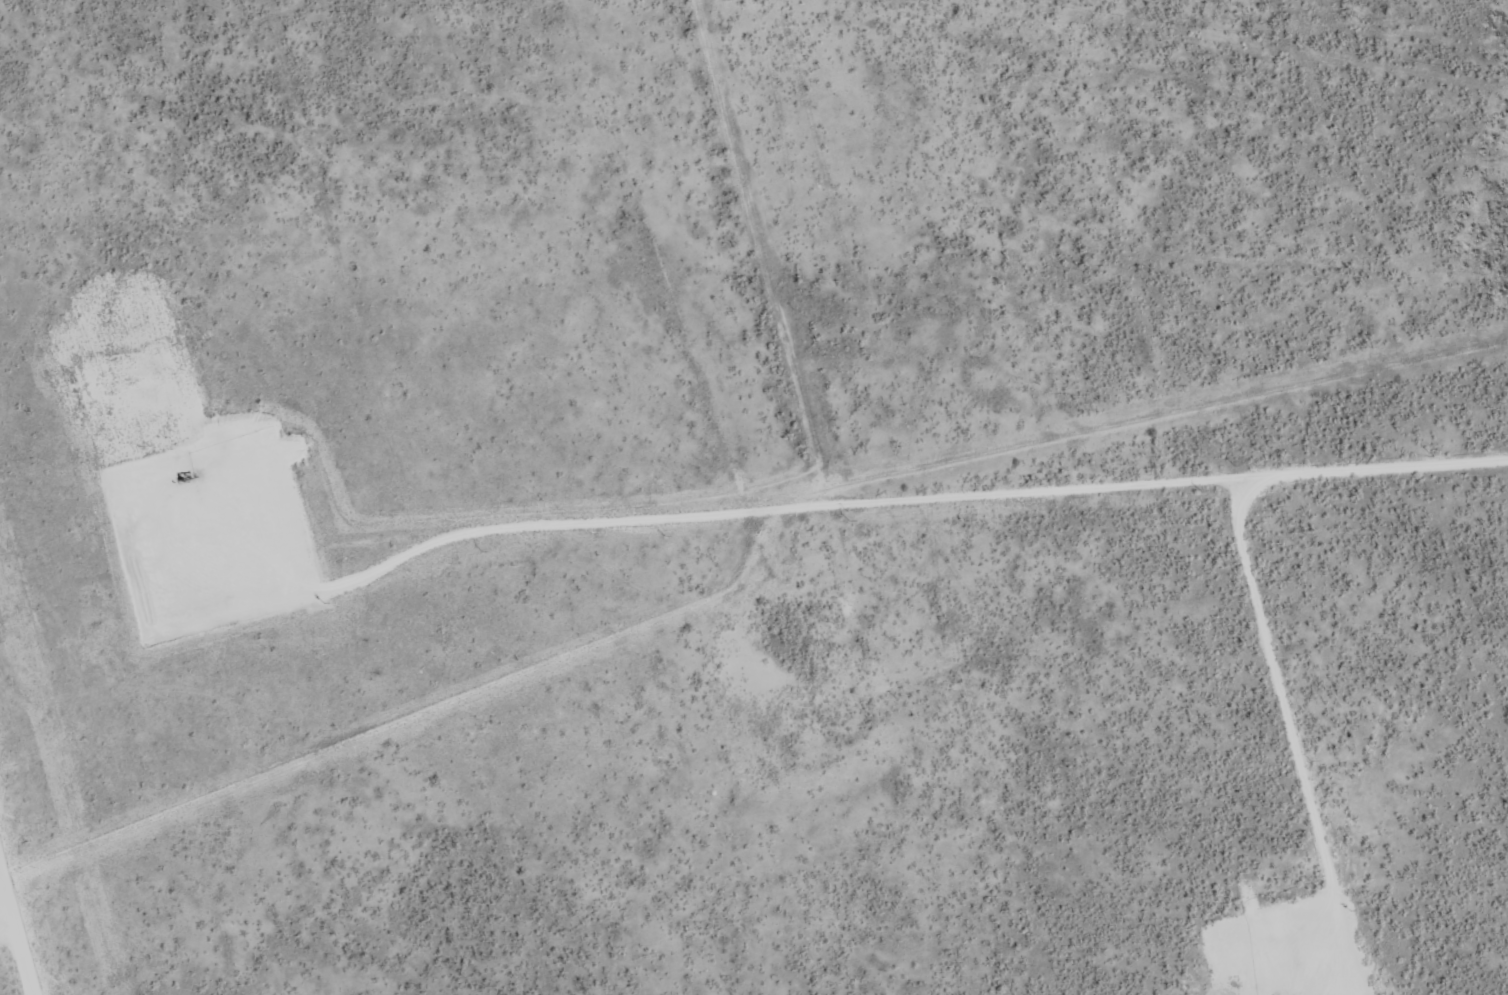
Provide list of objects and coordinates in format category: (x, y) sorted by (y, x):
road: (808, 290)
road: (4, 867)
road: (20, 919)

